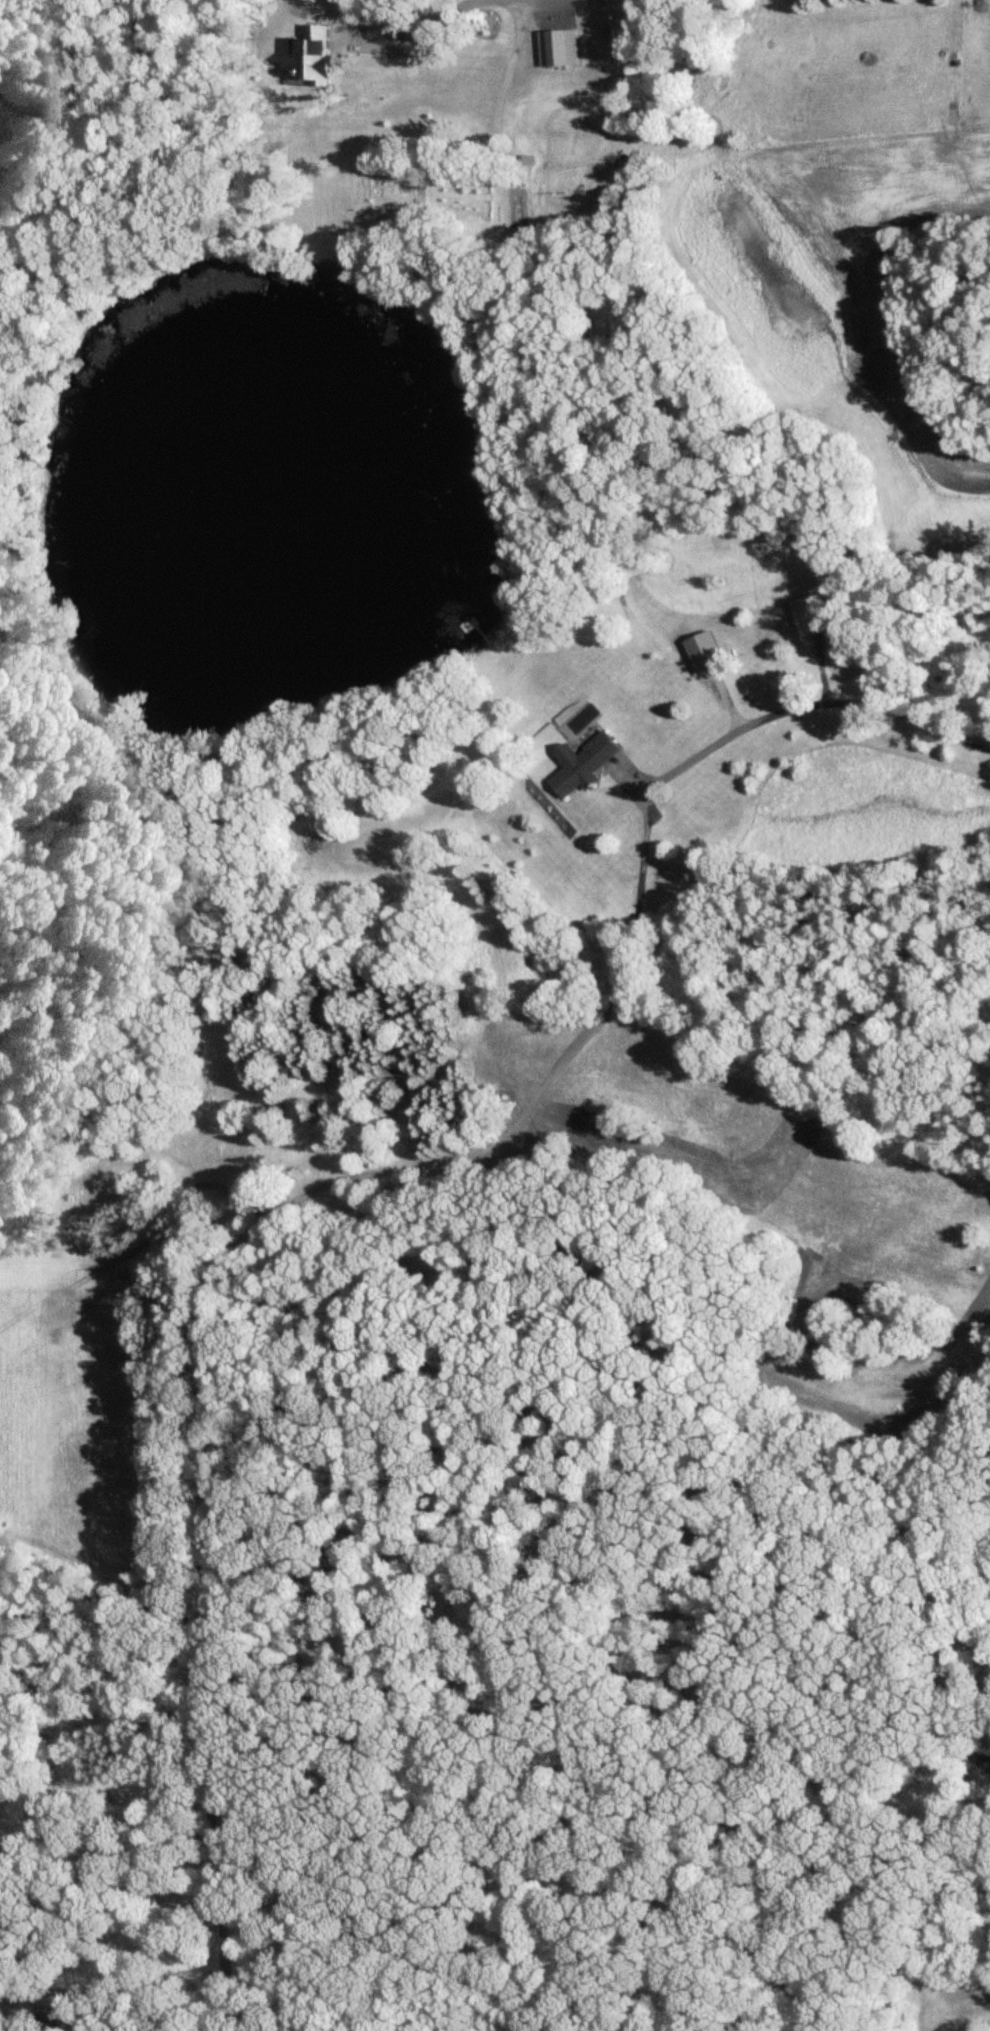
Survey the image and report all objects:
road: (440, 20)
building: (815, 615)
building: (762, 639)
building: (711, 651)
road: (824, 671)
road: (731, 700)
road: (803, 706)
building: (589, 762)
road: (633, 788)
road: (221, 1304)
crop: (74, 1408)

